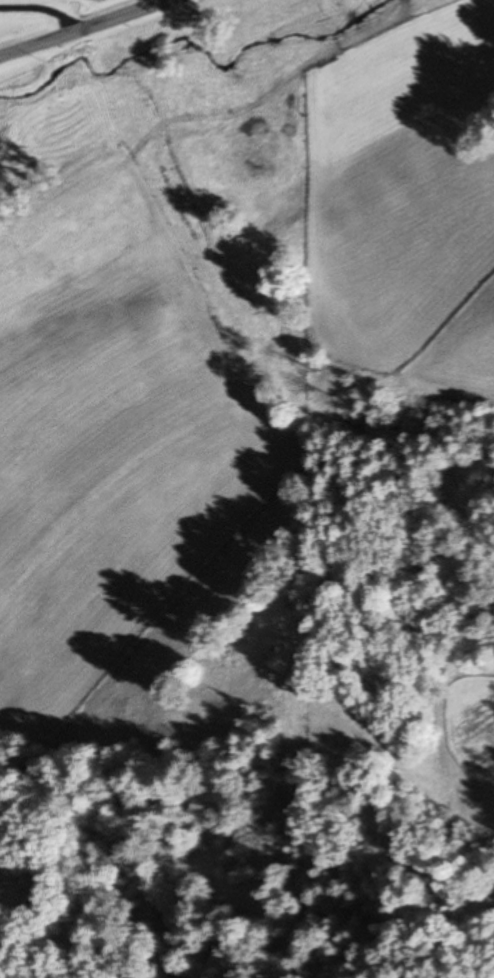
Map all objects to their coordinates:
road: (42, 2)
road: (75, 25)

